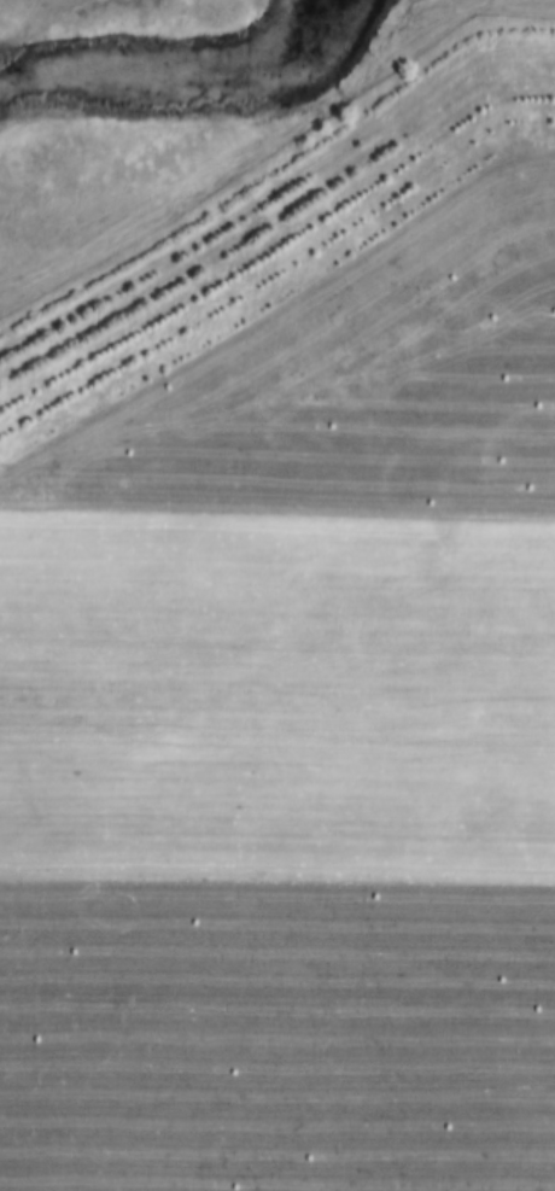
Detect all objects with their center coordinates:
road: (277, 512)

